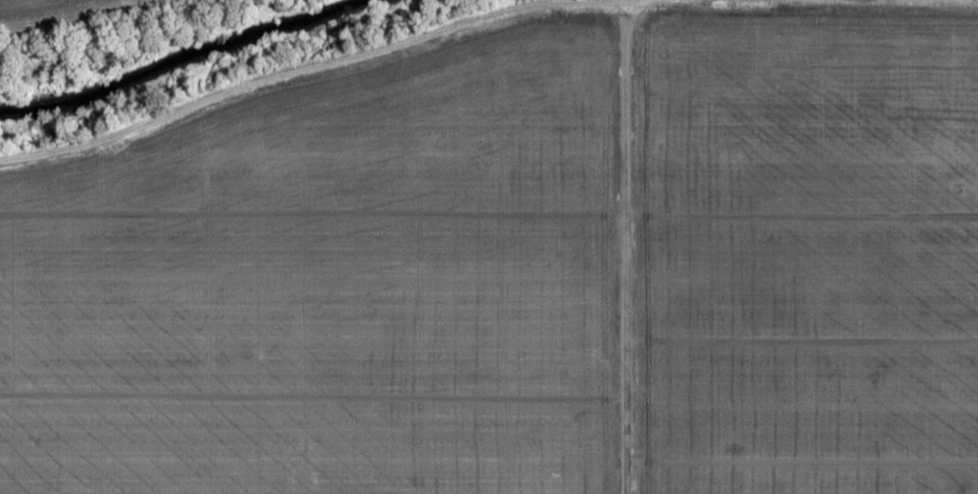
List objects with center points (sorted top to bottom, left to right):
road: (925, 0)
road: (284, 78)

